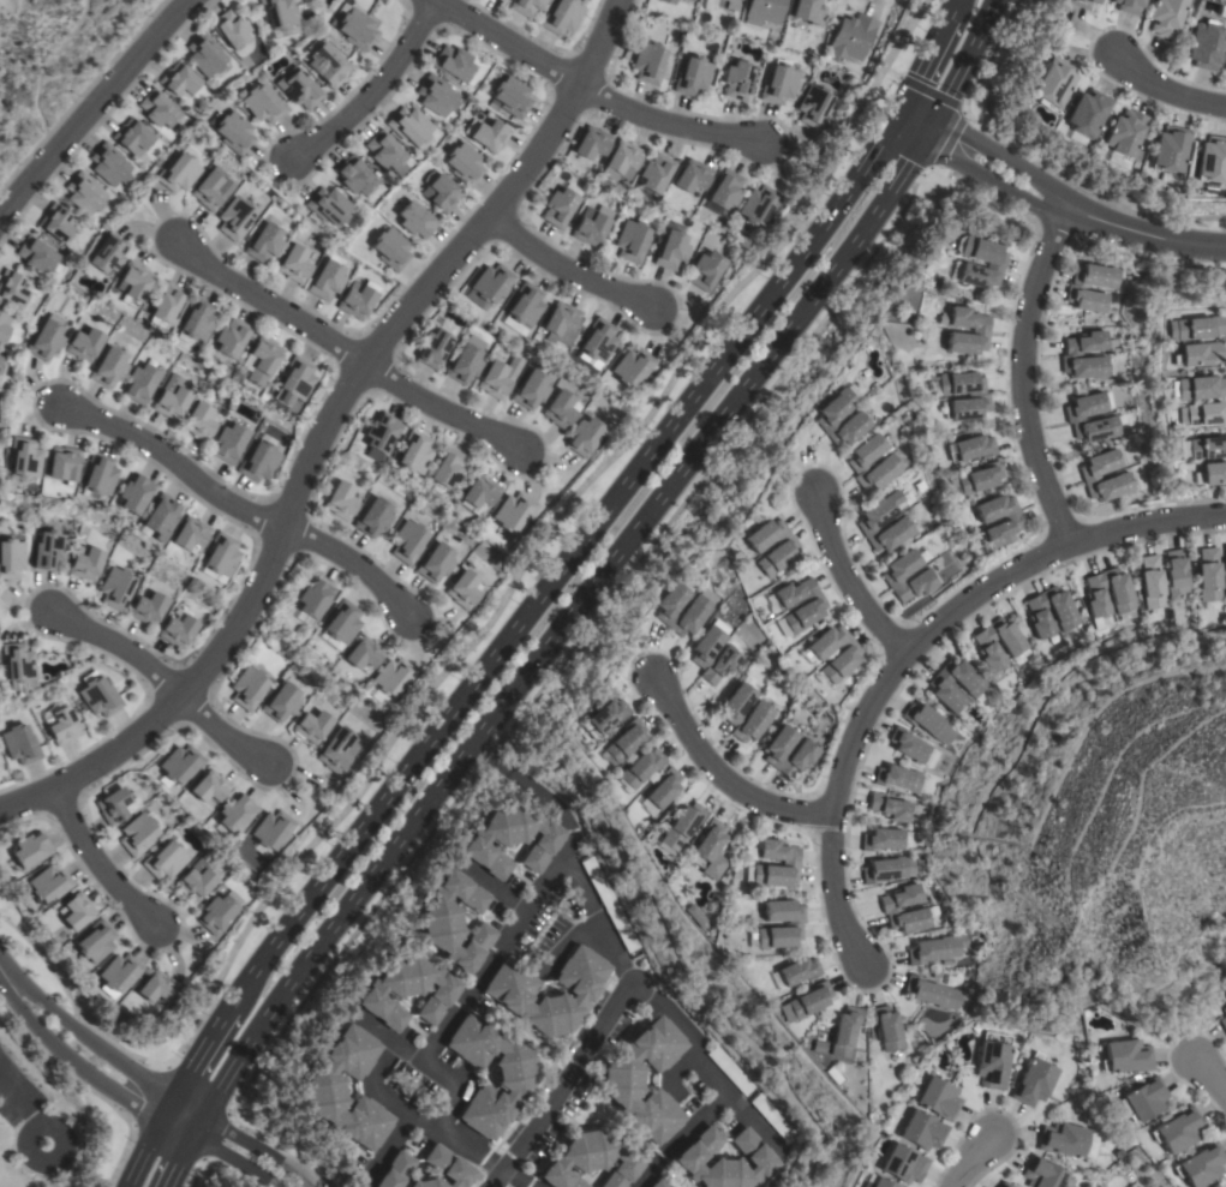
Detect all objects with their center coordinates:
building: (689, 0)
building: (501, 1)
building: (669, 1)
building: (728, 4)
road: (953, 4)
building: (1081, 4)
building: (526, 6)
building: (1128, 6)
building: (762, 12)
building: (809, 12)
building: (279, 14)
building: (561, 17)
building: (1165, 17)
building: (231, 29)
building: (355, 29)
building: (851, 38)
building: (1204, 46)
building: (204, 54)
road: (925, 61)
building: (453, 62)
building: (648, 64)
road: (962, 65)
building: (328, 66)
building: (692, 77)
building: (179, 80)
building: (737, 80)
building: (1052, 84)
building: (778, 85)
building: (299, 88)
road: (375, 89)
road: (1167, 89)
road: (587, 92)
building: (436, 96)
building: (512, 97)
building: (261, 103)
road: (91, 106)
building: (814, 107)
building: (159, 109)
traffic signals: (898, 115)
building: (1084, 115)
road: (913, 122)
building: (409, 127)
traffic signals: (927, 130)
building: (233, 132)
building: (489, 136)
building: (132, 137)
building: (1122, 137)
building: (591, 143)
building: (1167, 150)
building: (385, 152)
building: (623, 160)
building: (1212, 161)
building: (464, 164)
building: (109, 166)
building: (178, 173)
building: (656, 173)
building: (354, 176)
building: (692, 176)
building: (725, 190)
building: (210, 191)
building: (84, 193)
building: (442, 193)
building: (759, 205)
building: (328, 206)
building: (558, 208)
road: (1066, 214)
building: (234, 218)
building: (415, 221)
building: (55, 222)
building: (590, 228)
building: (632, 240)
building: (263, 244)
building: (390, 248)
building: (670, 251)
building: (107, 253)
building: (38, 256)
building: (994, 263)
building: (294, 264)
building: (706, 271)
road: (564, 272)
building: (328, 278)
building: (133, 282)
building: (491, 283)
building: (12, 288)
building: (1075, 289)
building: (358, 299)
building: (165, 304)
building: (522, 308)
building: (1, 317)
building: (196, 320)
building: (560, 323)
building: (1192, 328)
building: (979, 330)
building: (2, 332)
building: (46, 338)
building: (231, 338)
building: (597, 340)
building: (84, 344)
road: (342, 348)
building: (433, 348)
building: (1196, 354)
building: (1069, 355)
building: (0, 358)
building: (259, 360)
building: (466, 361)
building: (2, 366)
building: (108, 367)
building: (632, 367)
building: (498, 377)
building: (295, 378)
road: (1023, 378)
building: (140, 383)
building: (1196, 388)
building: (531, 390)
building: (980, 397)
building: (171, 398)
building: (560, 409)
building: (830, 414)
building: (1201, 414)
building: (1074, 418)
building: (198, 421)
road: (322, 426)
building: (381, 432)
building: (585, 437)
building: (228, 443)
building: (969, 448)
building: (1206, 448)
building: (413, 454)
building: (24, 457)
building: (258, 462)
building: (856, 462)
building: (62, 464)
building: (447, 468)
building: (1209, 474)
building: (98, 475)
building: (1119, 478)
building: (976, 479)
building: (134, 494)
building: (478, 494)
building: (340, 500)
road: (243, 506)
building: (512, 512)
building: (373, 517)
building: (159, 518)
building: (871, 521)
building: (1010, 523)
building: (189, 534)
building: (407, 542)
building: (783, 547)
building: (50, 550)
building: (219, 557)
building: (11, 558)
road: (566, 562)
building: (435, 563)
building: (86, 564)
building: (1224, 570)
road: (844, 574)
building: (1176, 575)
building: (1208, 575)
building: (891, 577)
building: (1150, 582)
building: (115, 588)
building: (462, 590)
building: (312, 600)
building: (1123, 603)
building: (148, 609)
building: (699, 609)
building: (808, 609)
building: (1065, 616)
building: (341, 622)
road: (483, 629)
building: (177, 631)
road: (910, 643)
building: (1012, 643)
road: (538, 652)
building: (361, 654)
building: (729, 657)
building: (844, 658)
building: (17, 664)
building: (391, 677)
road: (162, 681)
building: (973, 688)
building: (249, 689)
building: (97, 696)
building: (281, 702)
building: (761, 713)
building: (603, 718)
building: (928, 723)
building: (61, 726)
building: (312, 726)
building: (624, 741)
building: (20, 744)
building: (908, 745)
building: (805, 751)
building: (336, 753)
building: (179, 765)
building: (640, 768)
road: (716, 772)
building: (897, 779)
building: (208, 787)
building: (663, 789)
building: (113, 807)
building: (890, 808)
building: (233, 815)
building: (682, 826)
building: (271, 831)
building: (137, 834)
building: (510, 840)
building: (881, 840)
building: (30, 850)
building: (710, 850)
road: (96, 861)
building: (163, 861)
building: (789, 862)
building: (887, 869)
building: (197, 877)
building: (48, 885)
road: (491, 885)
road: (538, 891)
building: (609, 904)
building: (890, 909)
building: (74, 911)
building: (216, 915)
building: (695, 916)
building: (454, 922)
building: (791, 925)
building: (94, 941)
road: (564, 941)
building: (937, 949)
building: (796, 972)
building: (116, 975)
road: (634, 984)
building: (155, 987)
building: (507, 990)
building: (406, 991)
building: (931, 994)
building: (808, 1001)
building: (1225, 1012)
building: (1224, 1023)
building: (886, 1029)
building: (844, 1031)
road: (83, 1036)
road: (201, 1049)
road: (406, 1053)
building: (1126, 1056)
road: (68, 1059)
building: (992, 1061)
road: (381, 1063)
building: (730, 1071)
road: (1210, 1073)
building: (515, 1078)
building: (621, 1080)
building: (1034, 1081)
road: (562, 1085)
building: (319, 1089)
building: (938, 1099)
building: (1142, 1101)
road: (189, 1103)
road: (167, 1107)
road: (448, 1108)
road: (25, 1111)
building: (776, 1119)
road: (753, 1121)
road: (177, 1128)
building: (921, 1131)
building: (1177, 1131)
road: (449, 1134)
road: (681, 1138)
building: (1061, 1139)
road: (259, 1147)
road: (124, 1150)
road: (388, 1150)
road: (143, 1153)
building: (725, 1159)
road: (234, 1161)
building: (591, 1161)
road: (977, 1162)
building: (903, 1164)
building: (1200, 1165)
building: (444, 1169)
building: (394, 1170)
building: (1043, 1174)
building: (658, 1183)
building: (881, 1183)
building: (1004, 1185)
building: (863, 1186)

